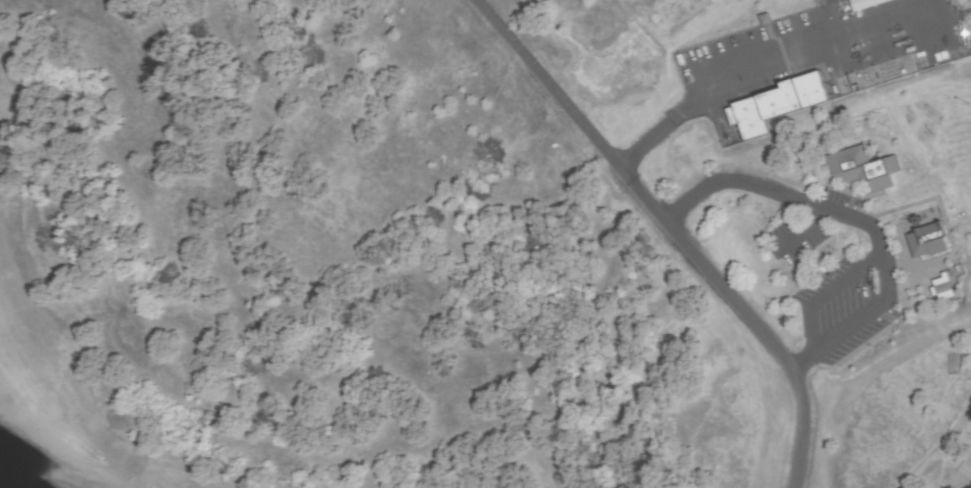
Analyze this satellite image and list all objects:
building: (865, 3)
building: (884, 73)
building: (775, 104)
building: (863, 168)
road: (869, 224)
road: (682, 229)
building: (928, 241)
building: (942, 289)
road: (941, 447)

